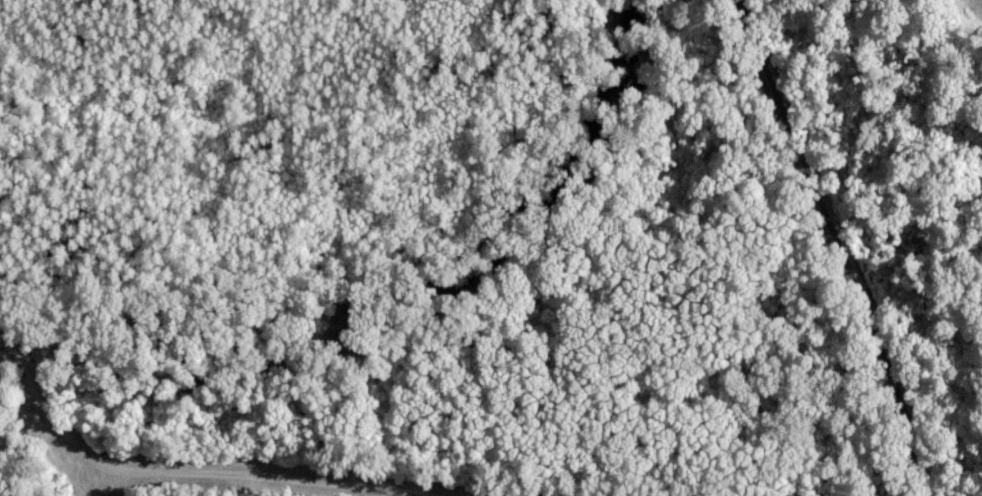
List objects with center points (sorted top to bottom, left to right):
railway: (817, 189)
road: (167, 476)

